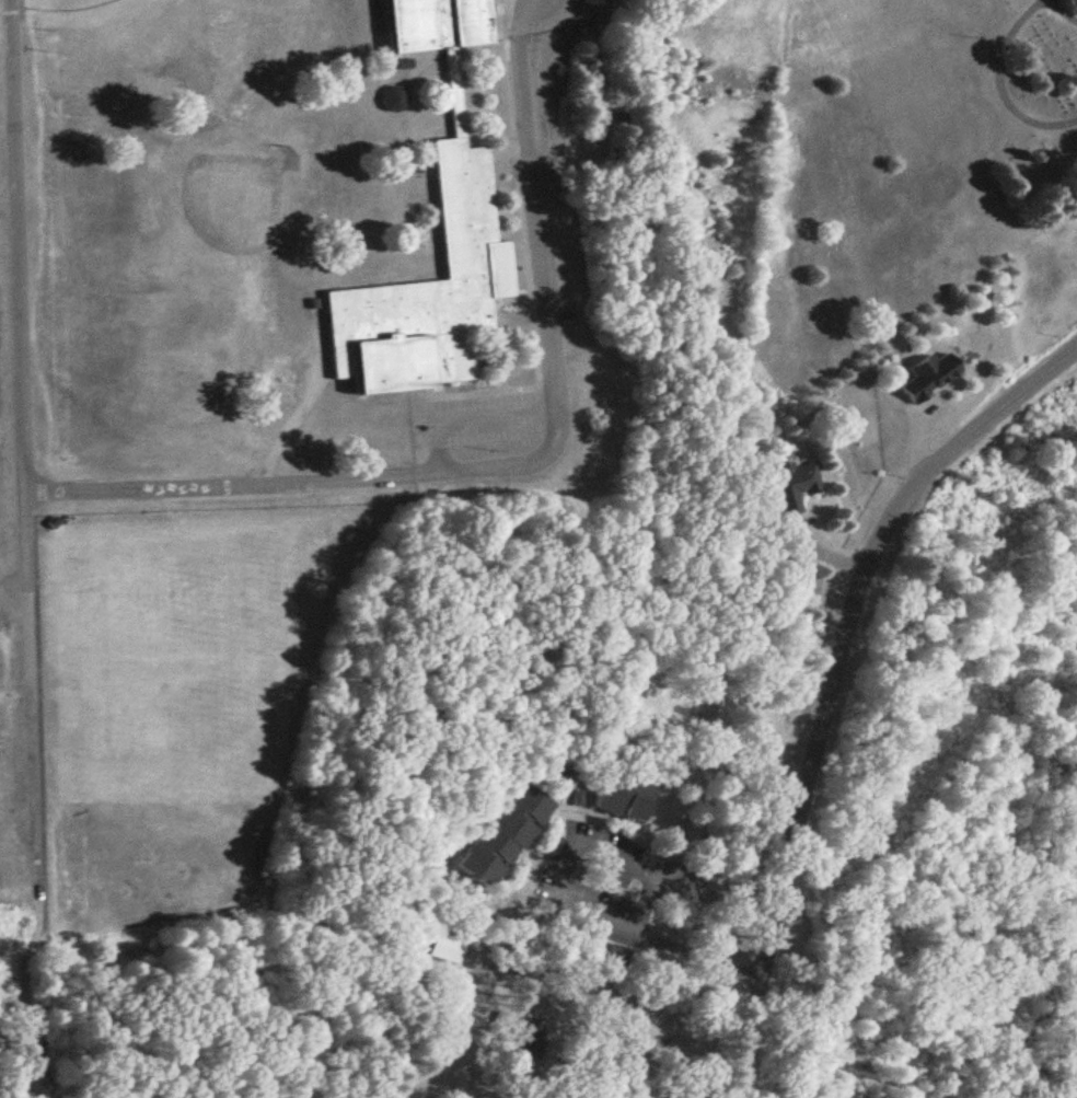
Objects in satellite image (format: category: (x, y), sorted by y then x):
park: (77, 9)
road: (999, 80)
park: (841, 165)
building: (433, 243)
road: (20, 294)
building: (931, 377)
road: (516, 463)
building: (794, 486)
road: (833, 683)
building: (625, 797)
building: (507, 836)
road: (580, 845)
road: (716, 933)
building: (448, 949)
road: (831, 1005)

